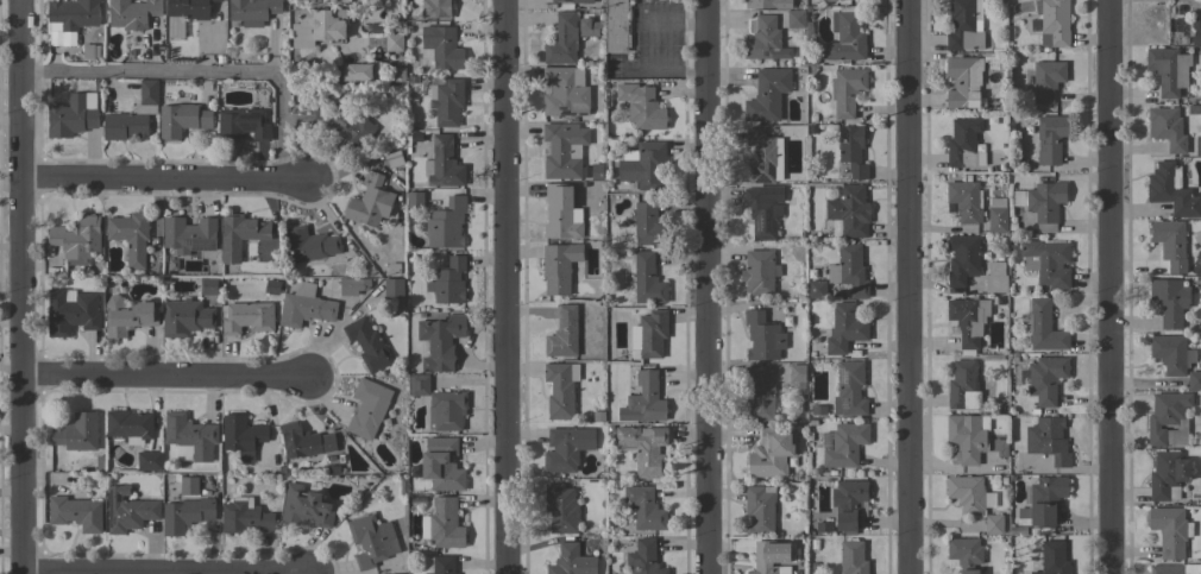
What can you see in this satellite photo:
building: (828, 0)
building: (573, 1)
building: (1197, 1)
building: (768, 4)
building: (188, 8)
building: (435, 8)
building: (252, 11)
building: (132, 13)
building: (794, 18)
building: (70, 19)
road: (669, 20)
building: (1054, 23)
building: (617, 25)
building: (964, 25)
building: (1033, 25)
building: (316, 27)
building: (589, 27)
building: (1196, 31)
building: (845, 36)
building: (762, 38)
building: (562, 40)
building: (394, 42)
building: (441, 46)
building: (89, 50)
road: (665, 69)
building: (398, 70)
building: (1168, 70)
building: (356, 72)
road: (202, 75)
building: (1046, 80)
building: (963, 81)
building: (847, 90)
building: (565, 92)
building: (767, 95)
building: (446, 101)
building: (641, 106)
building: (73, 115)
building: (133, 115)
building: (182, 120)
building: (344, 121)
building: (243, 124)
building: (1170, 131)
building: (414, 138)
building: (1050, 138)
building: (963, 145)
building: (562, 150)
building: (851, 150)
building: (760, 156)
building: (444, 164)
building: (643, 165)
building: (394, 169)
building: (597, 171)
building: (585, 172)
road: (164, 181)
building: (1171, 190)
building: (964, 198)
building: (369, 201)
building: (417, 201)
building: (1042, 203)
building: (849, 210)
building: (561, 213)
building: (761, 214)
building: (996, 214)
building: (446, 223)
building: (647, 225)
building: (188, 234)
building: (239, 234)
building: (130, 236)
building: (77, 239)
building: (1170, 242)
building: (309, 244)
building: (1046, 261)
building: (973, 264)
building: (559, 266)
building: (332, 270)
building: (849, 270)
building: (759, 271)
building: (647, 279)
building: (448, 282)
building: (209, 285)
building: (353, 285)
road: (23, 286)
road: (505, 286)
road: (705, 286)
road: (908, 286)
road: (1107, 286)
building: (271, 288)
building: (394, 288)
building: (816, 289)
building: (1169, 301)
building: (304, 307)
building: (70, 311)
building: (127, 316)
building: (246, 316)
building: (186, 317)
building: (968, 321)
building: (1043, 327)
building: (844, 328)
building: (562, 333)
building: (649, 334)
building: (762, 336)
building: (440, 341)
building: (367, 343)
building: (1171, 353)
building: (797, 374)
road: (168, 379)
building: (1044, 379)
building: (1194, 380)
building: (419, 384)
building: (967, 385)
building: (560, 389)
building: (849, 389)
building: (760, 393)
building: (643, 400)
building: (367, 408)
building: (446, 410)
building: (817, 411)
building: (597, 416)
building: (1168, 418)
building: (128, 425)
building: (76, 431)
building: (241, 435)
building: (189, 437)
building: (972, 437)
building: (1048, 440)
building: (304, 441)
building: (845, 444)
building: (566, 448)
building: (643, 448)
building: (772, 453)
building: (149, 460)
building: (441, 465)
building: (332, 469)
building: (1168, 474)
building: (1000, 481)
building: (188, 485)
building: (1046, 499)
building: (976, 502)
building: (849, 505)
building: (303, 507)
building: (643, 507)
building: (560, 509)
building: (760, 509)
building: (128, 510)
building: (76, 513)
building: (1021, 513)
building: (186, 515)
building: (244, 516)
building: (442, 524)
building: (822, 528)
building: (1170, 530)
building: (371, 540)
building: (964, 553)
building: (644, 557)
building: (771, 557)
building: (853, 557)
building: (1052, 559)
building: (571, 561)
building: (442, 564)
building: (1172, 568)

